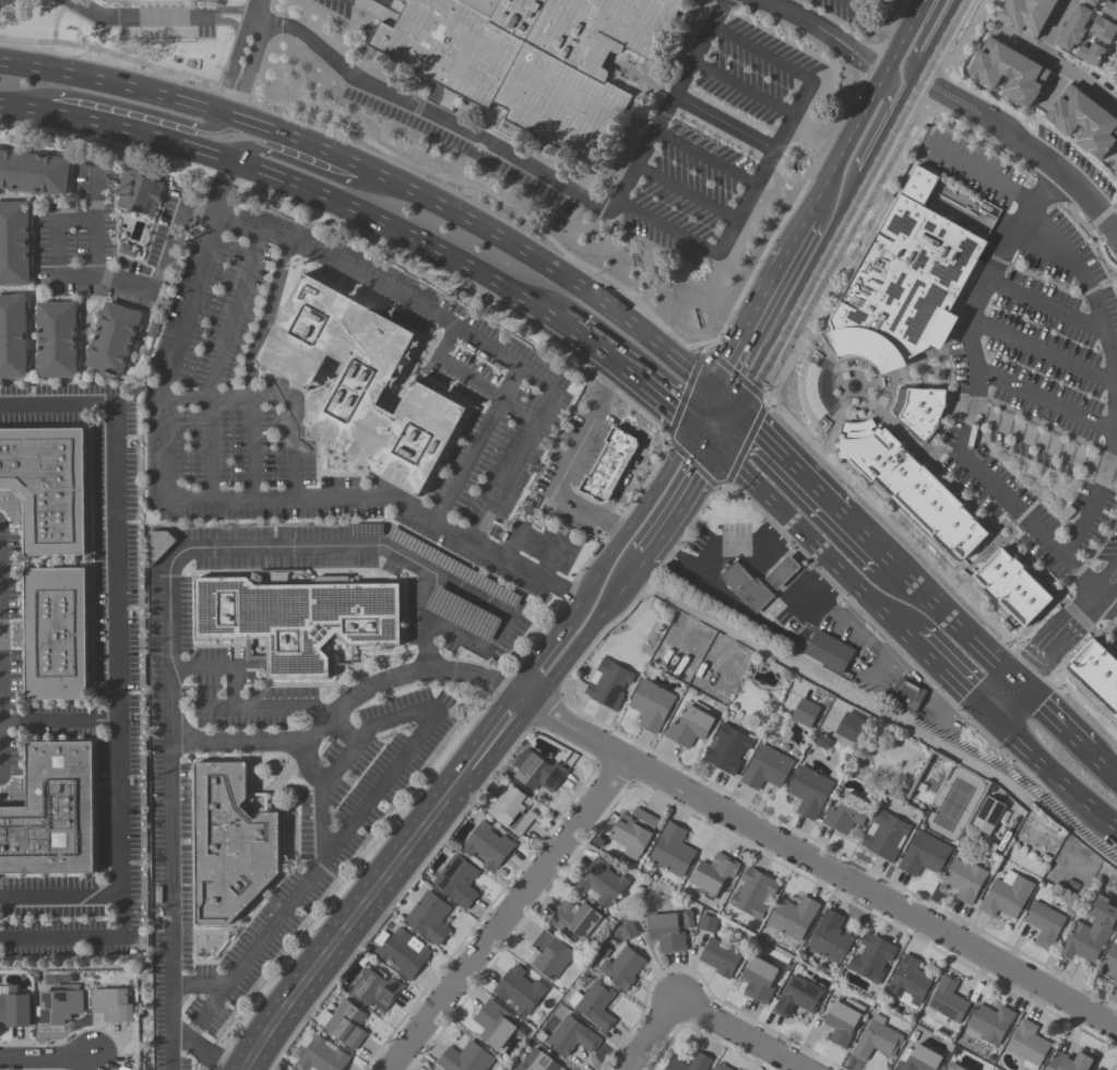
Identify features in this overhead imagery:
building: (155, 1)
road: (854, 2)
road: (861, 2)
building: (1093, 2)
building: (1110, 8)
road: (230, 9)
road: (258, 9)
road: (787, 12)
building: (1026, 15)
road: (134, 16)
road: (227, 21)
road: (1054, 25)
road: (247, 26)
building: (1073, 27)
road: (35, 28)
building: (1104, 28)
road: (904, 34)
road: (919, 37)
road: (938, 39)
road: (851, 41)
road: (845, 53)
building: (1090, 53)
building: (528, 59)
road: (1058, 63)
road: (248, 67)
building: (1008, 71)
road: (228, 72)
building: (1115, 76)
road: (108, 81)
road: (1053, 85)
road: (122, 108)
road: (894, 116)
building: (1084, 120)
road: (724, 122)
road: (868, 132)
road: (846, 145)
road: (1025, 145)
road: (1114, 159)
road: (304, 167)
road: (767, 168)
building: (1116, 171)
building: (34, 173)
road: (537, 173)
road: (982, 175)
road: (296, 182)
road: (222, 189)
building: (139, 193)
road: (478, 224)
road: (797, 237)
building: (14, 245)
building: (910, 273)
road: (91, 278)
road: (804, 282)
road: (1089, 282)
road: (1048, 309)
road: (234, 313)
road: (750, 320)
road: (463, 329)
building: (12, 336)
building: (57, 340)
building: (112, 340)
building: (869, 347)
road: (1044, 350)
road: (173, 357)
road: (453, 367)
road: (631, 373)
fountain: (851, 384)
building: (361, 387)
traffic signals: (712, 390)
building: (809, 391)
road: (278, 395)
road: (974, 399)
road: (722, 401)
road: (1045, 401)
road: (56, 404)
road: (703, 406)
traffic signals: (733, 412)
building: (922, 412)
traffic signals: (694, 423)
road: (724, 428)
road: (705, 433)
road: (1045, 440)
road: (477, 442)
traffic signals: (716, 444)
road: (1114, 444)
road: (252, 448)
road: (209, 449)
road: (566, 464)
road: (784, 464)
building: (608, 466)
building: (47, 487)
building: (911, 487)
road: (387, 496)
road: (680, 502)
road: (1089, 512)
building: (1067, 515)
road: (629, 523)
road: (859, 539)
road: (813, 540)
building: (158, 545)
road: (724, 546)
building: (453, 568)
road: (889, 571)
building: (782, 572)
building: (277, 579)
building: (1012, 586)
building: (747, 587)
road: (1107, 601)
road: (490, 604)
road: (818, 611)
building: (462, 614)
building: (298, 619)
road: (423, 619)
road: (756, 619)
road: (949, 627)
road: (587, 634)
building: (56, 635)
road: (1049, 637)
building: (829, 652)
road: (888, 658)
road: (537, 659)
road: (117, 666)
road: (224, 666)
building: (1096, 671)
road: (946, 673)
building: (607, 685)
building: (906, 695)
road: (942, 698)
road: (348, 700)
building: (651, 705)
road: (171, 708)
road: (265, 708)
building: (805, 713)
road: (1043, 715)
road: (59, 721)
road: (392, 721)
building: (689, 727)
building: (849, 727)
road: (0, 730)
building: (821, 740)
building: (726, 749)
building: (765, 768)
road: (1047, 768)
road: (1098, 769)
road: (337, 771)
building: (538, 772)
building: (809, 792)
building: (512, 810)
building: (846, 813)
building: (52, 815)
building: (987, 816)
road: (321, 819)
building: (240, 833)
building: (633, 833)
building: (884, 836)
building: (486, 847)
building: (672, 851)
building: (923, 855)
road: (318, 864)
road: (819, 865)
building: (713, 875)
building: (964, 880)
building: (456, 881)
road: (381, 882)
building: (601, 883)
road: (61, 893)
building: (753, 894)
building: (1006, 896)
road: (507, 915)
building: (792, 917)
building: (429, 918)
building: (575, 919)
building: (706, 924)
building: (1044, 924)
building: (625, 931)
building: (665, 934)
building: (1090, 934)
building: (830, 938)
road: (66, 939)
building: (403, 954)
building: (550, 955)
building: (722, 956)
building: (871, 958)
building: (1110, 959)
building: (622, 968)
building: (758, 980)
building: (1115, 980)
building: (907, 983)
road: (198, 988)
building: (375, 990)
building: (519, 990)
building: (797, 998)
building: (947, 1001)
building: (61, 1004)
building: (594, 1004)
building: (114, 1006)
building: (14, 1009)
road: (701, 1012)
building: (842, 1021)
building: (990, 1023)
building: (494, 1024)
building: (343, 1025)
building: (571, 1037)
building: (877, 1039)
building: (1027, 1045)
building: (321, 1057)
road: (46, 1059)
building: (465, 1059)
building: (917, 1059)
building: (537, 1061)
building: (701, 1061)
building: (1069, 1062)
building: (720, 1067)
building: (953, 1067)
building: (1096, 1069)
building: (1116, 1069)

